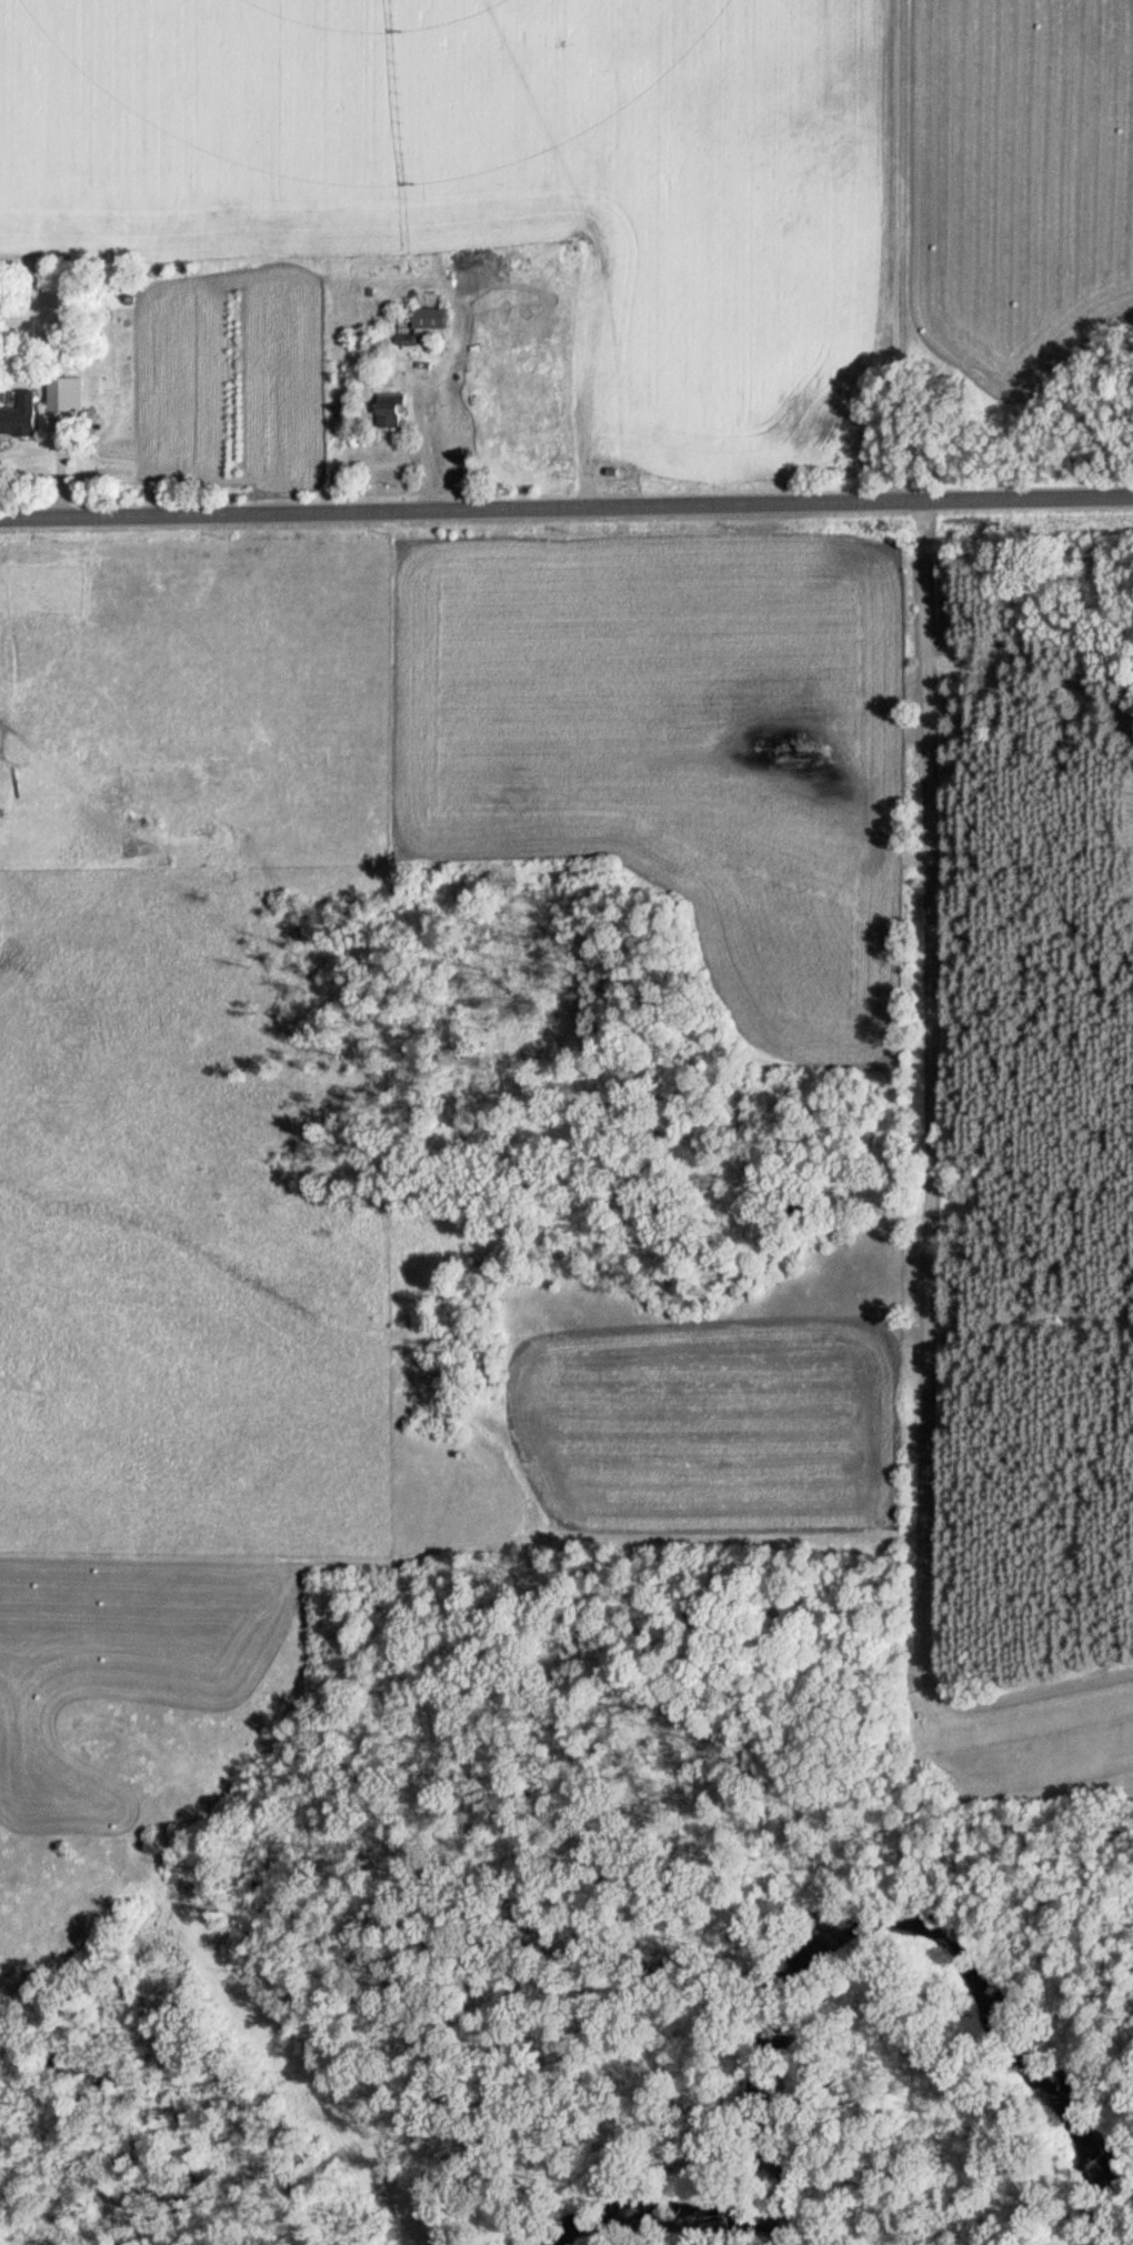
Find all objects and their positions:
building: (425, 318)
building: (58, 394)
building: (387, 410)
building: (19, 417)
road: (565, 512)
road: (935, 1199)
river: (826, 1928)

